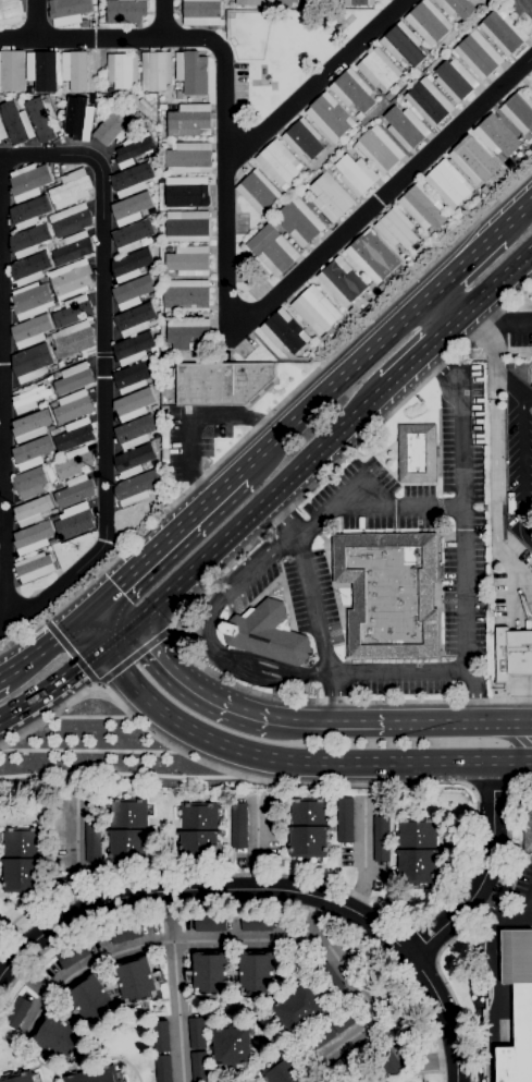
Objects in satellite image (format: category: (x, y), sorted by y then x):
building: (485, 1)
building: (248, 2)
building: (359, 2)
building: (231, 3)
building: (282, 3)
building: (456, 8)
building: (522, 9)
building: (10, 11)
building: (69, 11)
building: (125, 11)
building: (202, 12)
road: (35, 19)
road: (162, 19)
building: (428, 22)
building: (503, 31)
road: (81, 37)
building: (403, 45)
building: (478, 54)
building: (450, 56)
building: (75, 69)
building: (122, 69)
building: (378, 69)
building: (12, 70)
building: (44, 70)
building: (156, 70)
building: (191, 71)
building: (455, 80)
road: (313, 83)
building: (529, 85)
building: (352, 90)
building: (178, 95)
building: (389, 95)
building: (400, 102)
building: (428, 102)
building: (162, 107)
building: (519, 112)
building: (139, 114)
building: (78, 117)
building: (330, 117)
building: (42, 118)
building: (190, 120)
building: (362, 120)
building: (16, 122)
building: (115, 125)
building: (406, 127)
building: (2, 131)
building: (497, 135)
building: (304, 139)
building: (380, 148)
building: (133, 149)
building: (351, 150)
road: (49, 154)
building: (190, 156)
building: (140, 160)
building: (472, 160)
building: (279, 162)
building: (357, 174)
building: (133, 179)
building: (28, 181)
building: (448, 183)
building: (71, 187)
building: (485, 189)
building: (186, 191)
building: (258, 191)
building: (331, 196)
building: (422, 206)
building: (132, 208)
building: (29, 211)
building: (460, 211)
road: (514, 216)
building: (70, 219)
building: (302, 223)
building: (447, 224)
building: (186, 226)
building: (397, 228)
building: (133, 235)
building: (156, 238)
building: (29, 240)
building: (73, 247)
building: (170, 248)
building: (272, 248)
building: (373, 255)
building: (189, 260)
road: (465, 263)
building: (132, 264)
building: (29, 268)
building: (71, 278)
building: (44, 279)
building: (342, 281)
road: (495, 282)
building: (382, 285)
building: (133, 291)
building: (187, 295)
building: (32, 300)
road: (446, 304)
building: (55, 307)
building: (317, 309)
building: (73, 311)
road: (495, 316)
building: (136, 318)
road: (248, 321)
building: (156, 327)
building: (30, 330)
building: (285, 330)
building: (189, 333)
building: (325, 337)
building: (74, 339)
building: (321, 342)
building: (134, 348)
road: (491, 350)
road: (101, 351)
road: (420, 354)
building: (32, 363)
road: (49, 372)
building: (171, 373)
building: (134, 375)
track: (529, 375)
building: (49, 378)
building: (74, 378)
road: (335, 381)
building: (222, 382)
road: (508, 382)
road: (1, 389)
building: (29, 398)
building: (44, 402)
building: (134, 403)
building: (73, 406)
building: (154, 406)
road: (269, 412)
road: (190, 415)
road: (357, 416)
building: (30, 425)
building: (55, 430)
building: (135, 431)
building: (74, 434)
building: (156, 435)
building: (32, 452)
building: (417, 452)
building: (134, 459)
building: (75, 462)
building: (154, 462)
road: (522, 465)
building: (30, 483)
building: (136, 487)
building: (75, 490)
road: (373, 501)
road: (462, 502)
road: (494, 504)
building: (33, 509)
building: (74, 520)
road: (230, 534)
road: (169, 536)
building: (33, 537)
building: (35, 567)
road: (209, 582)
road: (55, 586)
building: (388, 593)
flagpole: (343, 596)
traffic signals: (100, 600)
road: (311, 607)
road: (89, 610)
road: (113, 615)
traffic signals: (78, 620)
traffic signals: (127, 629)
building: (267, 633)
road: (90, 634)
road: (207, 635)
road: (115, 639)
road: (40, 648)
traffic signals: (103, 649)
building: (512, 655)
road: (395, 670)
road: (1, 676)
road: (53, 688)
road: (196, 690)
road: (477, 695)
road: (530, 712)
road: (335, 725)
road: (460, 725)
road: (90, 751)
road: (298, 761)
road: (124, 775)
road: (492, 794)
building: (308, 811)
building: (128, 813)
building: (199, 816)
building: (345, 819)
building: (239, 824)
building: (528, 827)
building: (417, 832)
building: (92, 838)
building: (382, 838)
road: (463, 838)
building: (309, 841)
building: (21, 842)
building: (199, 843)
road: (257, 844)
building: (128, 846)
road: (363, 856)
road: (79, 858)
building: (417, 865)
road: (481, 872)
building: (23, 874)
road: (270, 888)
road: (253, 903)
road: (500, 909)
road: (530, 912)
building: (211, 923)
building: (257, 923)
road: (465, 926)
building: (126, 932)
road: (162, 941)
building: (74, 953)
road: (4, 957)
building: (236, 973)
building: (259, 973)
building: (211, 974)
road: (28, 978)
building: (329, 978)
building: (139, 980)
road: (174, 985)
building: (114, 987)
road: (498, 996)
road: (366, 998)
building: (94, 999)
building: (518, 1006)
building: (301, 1009)
building: (17, 1011)
building: (74, 1014)
building: (346, 1017)
building: (197, 1032)
road: (351, 1035)
building: (161, 1036)
building: (60, 1037)
building: (318, 1038)
building: (233, 1045)
building: (368, 1047)
building: (388, 1062)
building: (199, 1066)
building: (339, 1067)
building: (163, 1068)
building: (287, 1070)
building: (97, 1074)
building: (20, 1077)

